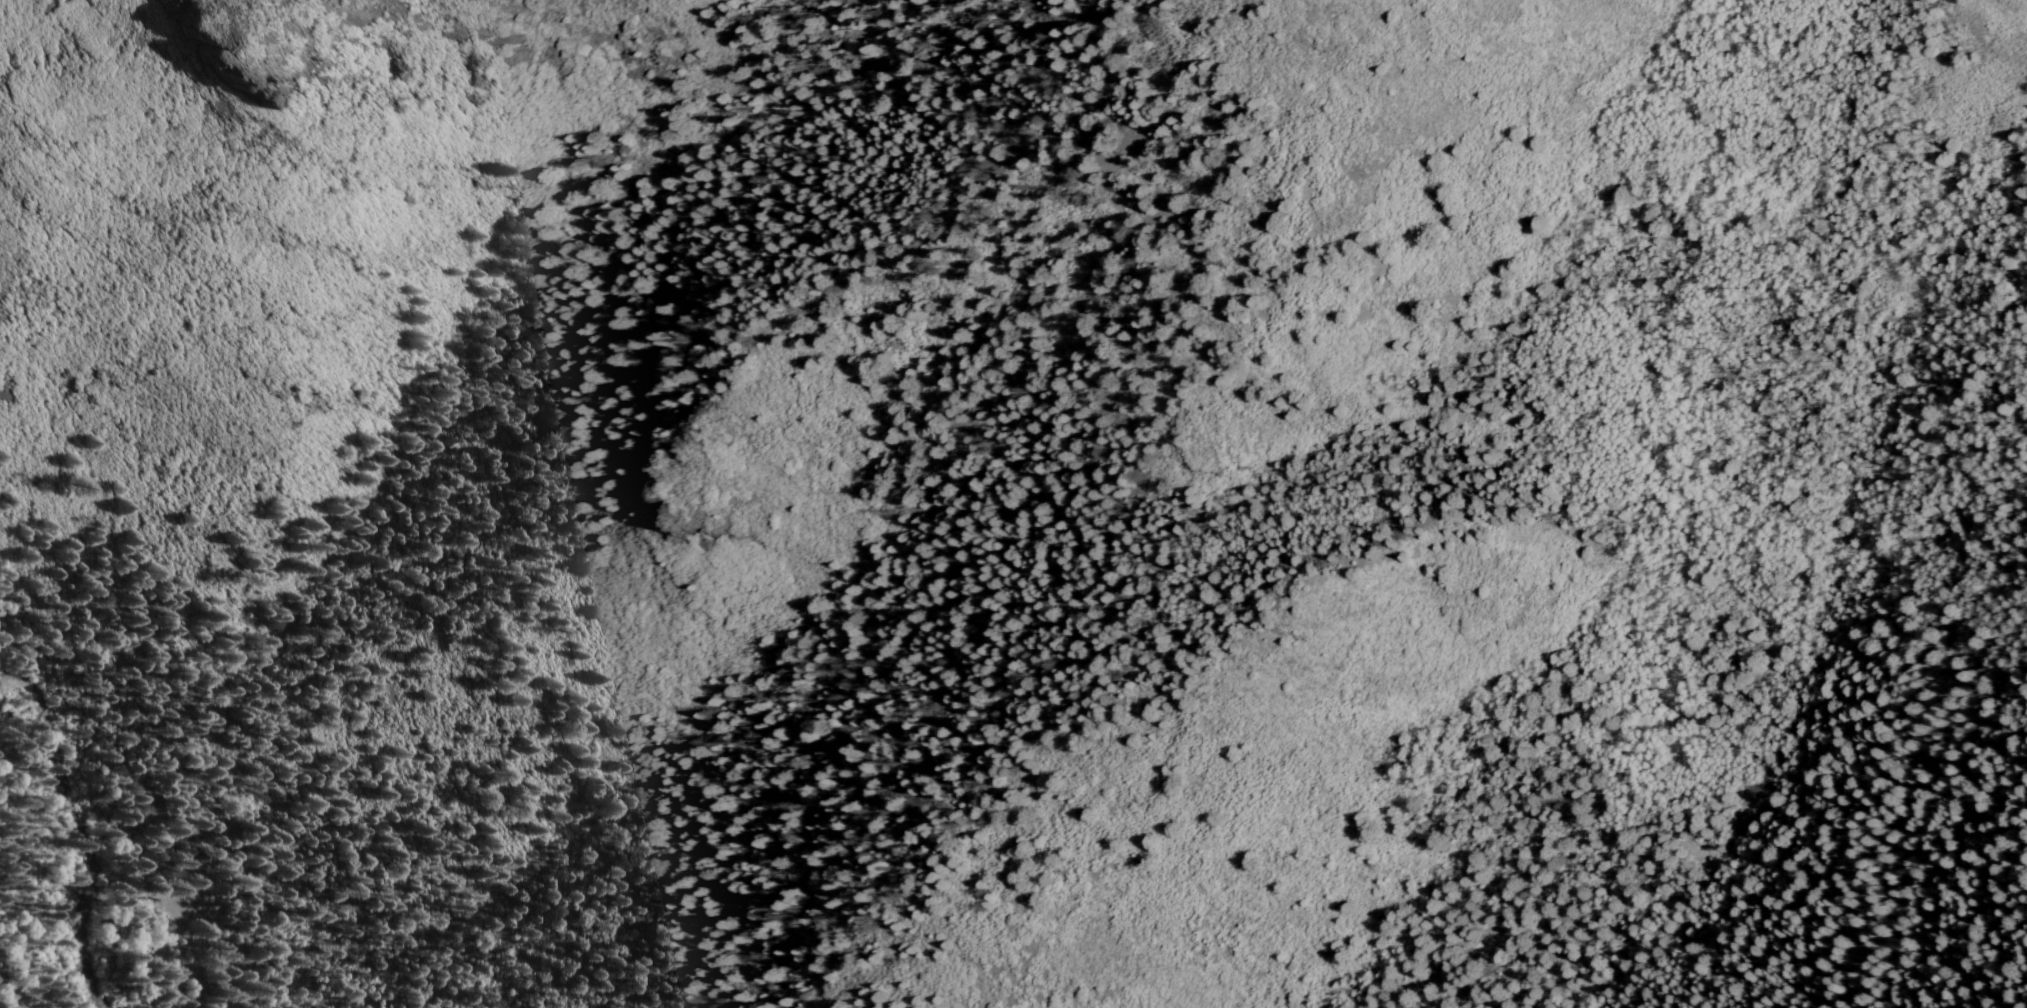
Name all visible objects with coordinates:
river: (73, 851)

